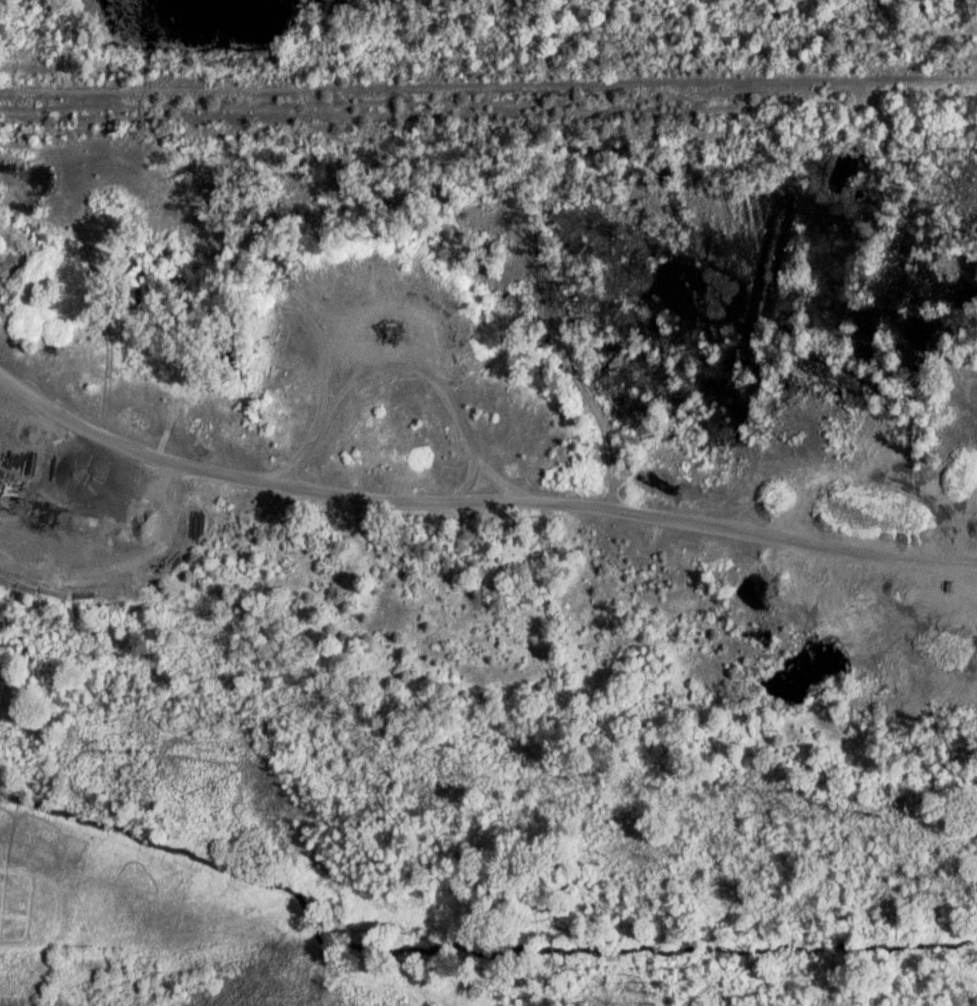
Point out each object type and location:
road: (488, 89)

